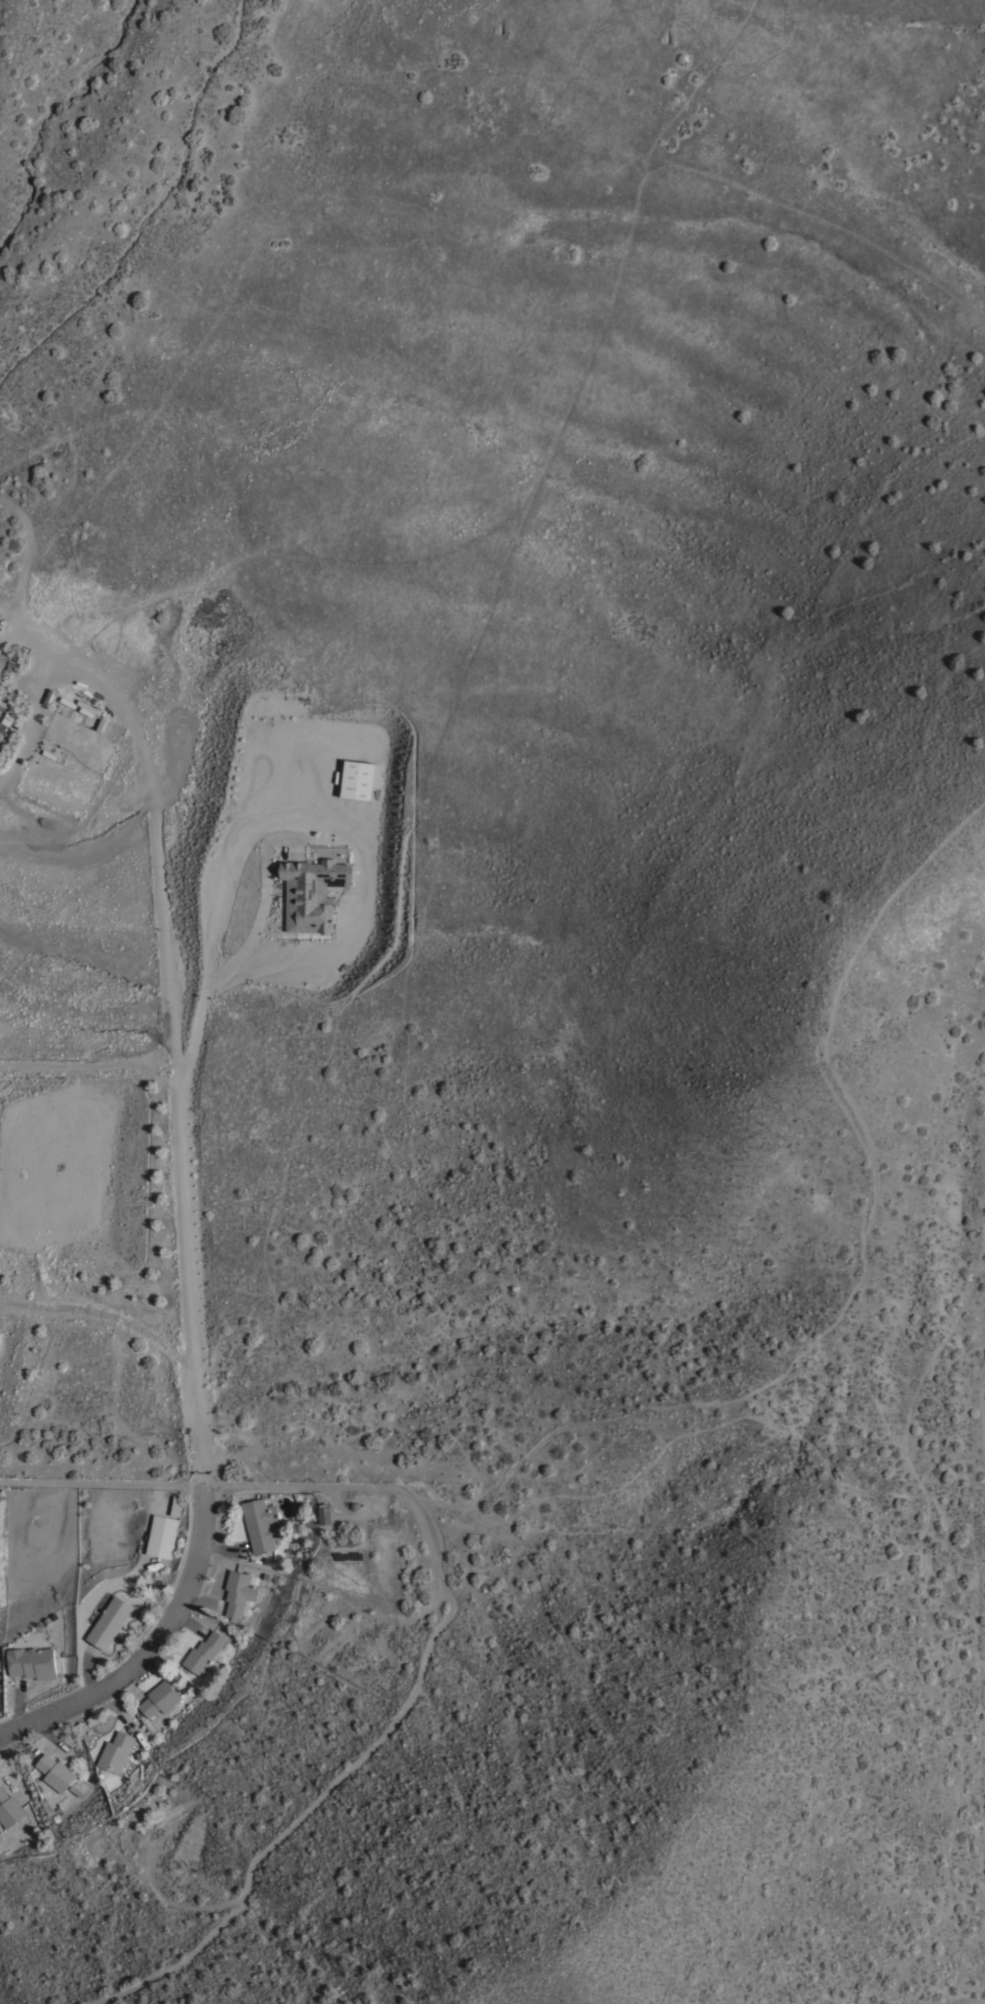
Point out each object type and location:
building: (87, 707)
building: (5, 716)
building: (359, 779)
road: (155, 820)
building: (312, 893)
road: (88, 1065)
road: (182, 1132)
building: (382, 1504)
building: (177, 1505)
building: (325, 1514)
building: (260, 1522)
building: (162, 1535)
road: (222, 1546)
building: (238, 1591)
road: (202, 1597)
road: (445, 1618)
building: (110, 1621)
building: (204, 1651)
road: (146, 1653)
building: (33, 1661)
road: (90, 1670)
road: (131, 1687)
building: (159, 1698)
road: (17, 1704)
road: (120, 1710)
road: (48, 1738)
building: (116, 1751)
building: (56, 1771)
building: (9, 1808)

